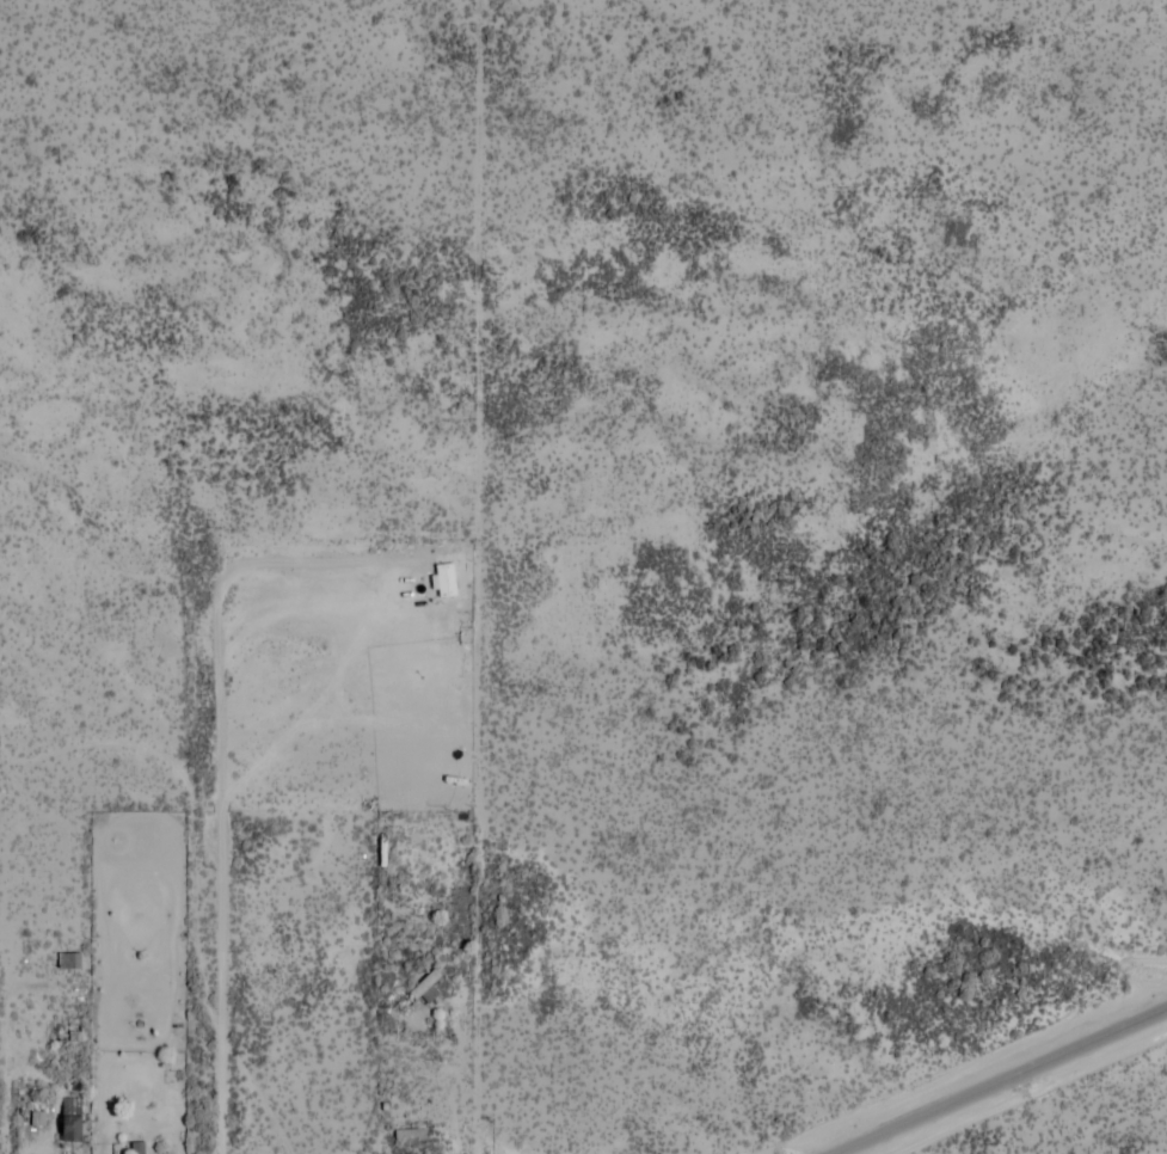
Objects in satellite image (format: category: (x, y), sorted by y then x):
building: (447, 578)
road: (198, 797)
building: (381, 851)
building: (68, 962)
building: (418, 993)
road: (479, 1013)
road: (262, 1087)
building: (68, 1119)
building: (407, 1134)

